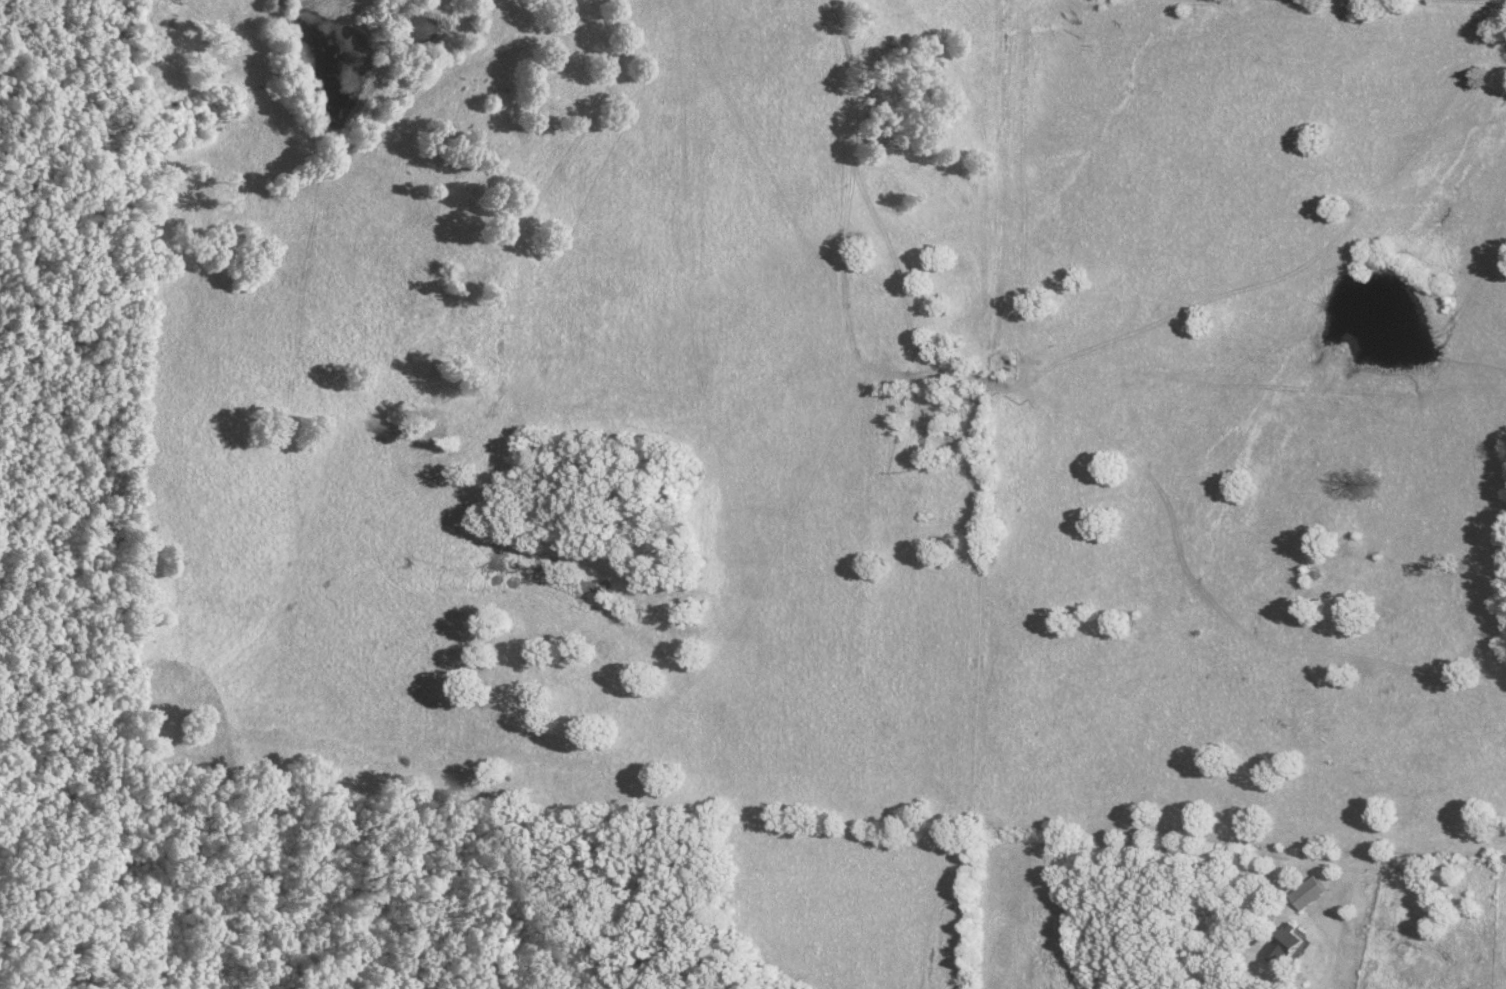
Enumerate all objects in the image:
building: (1311, 891)
building: (1292, 939)
road: (1337, 954)

